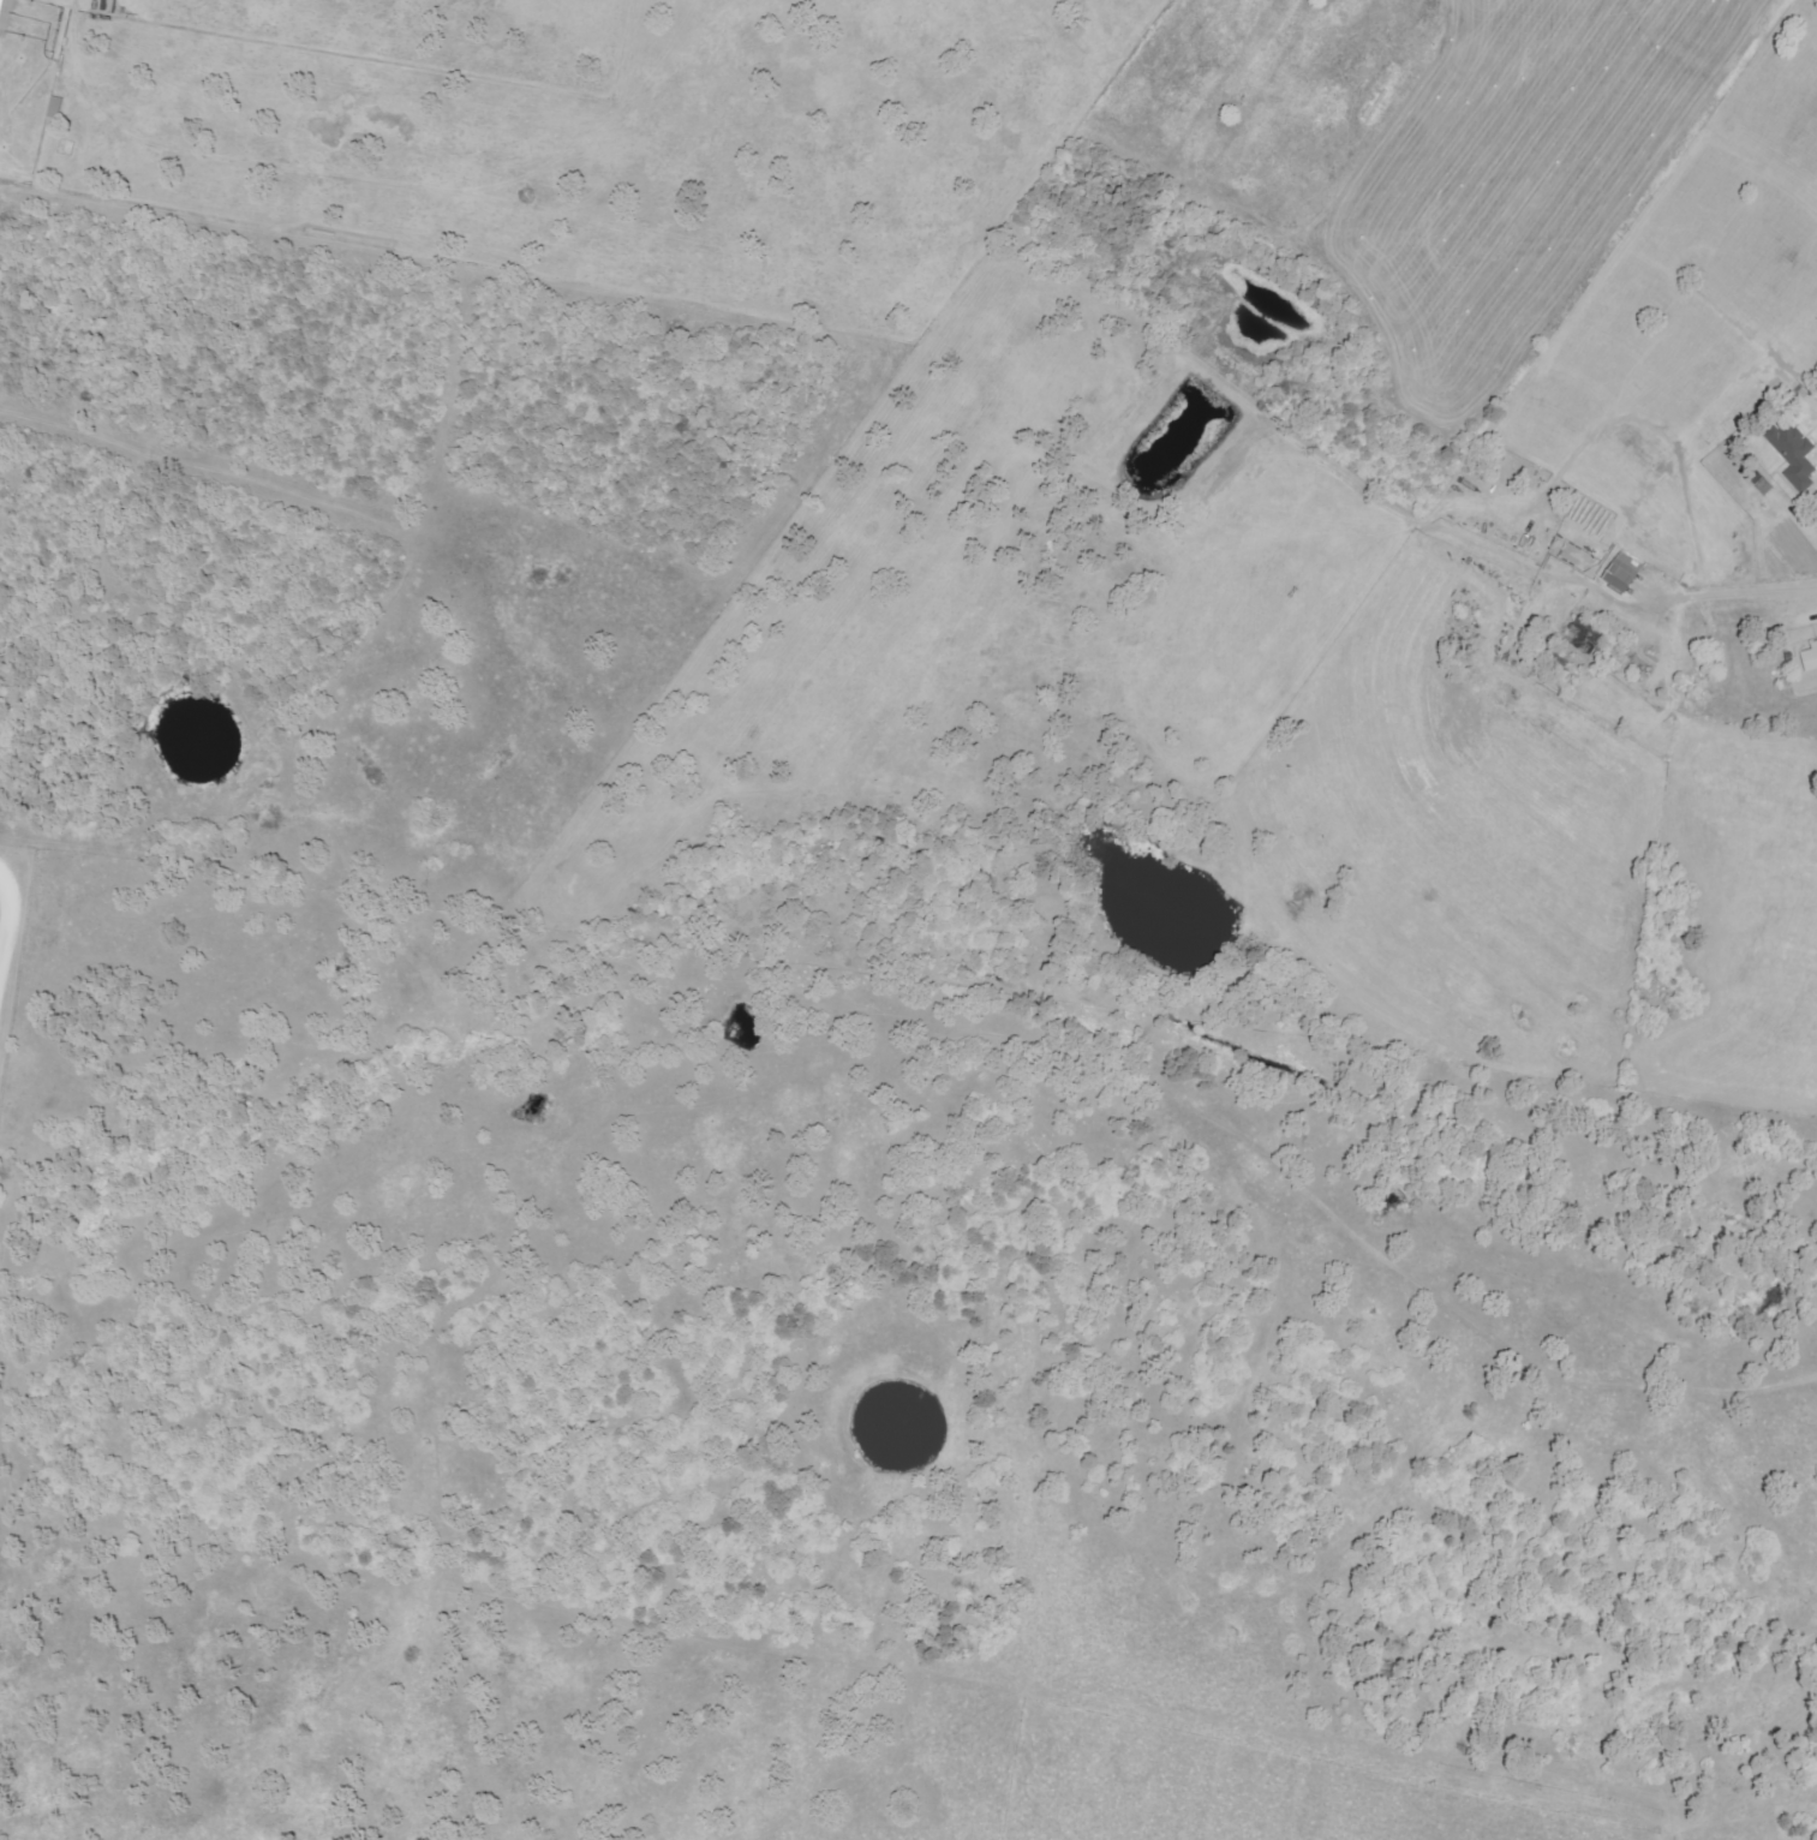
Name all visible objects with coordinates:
building: (0, 4)
road: (1716, 431)
building: (1792, 454)
building: (1621, 572)
road: (1731, 596)
building: (1810, 658)

